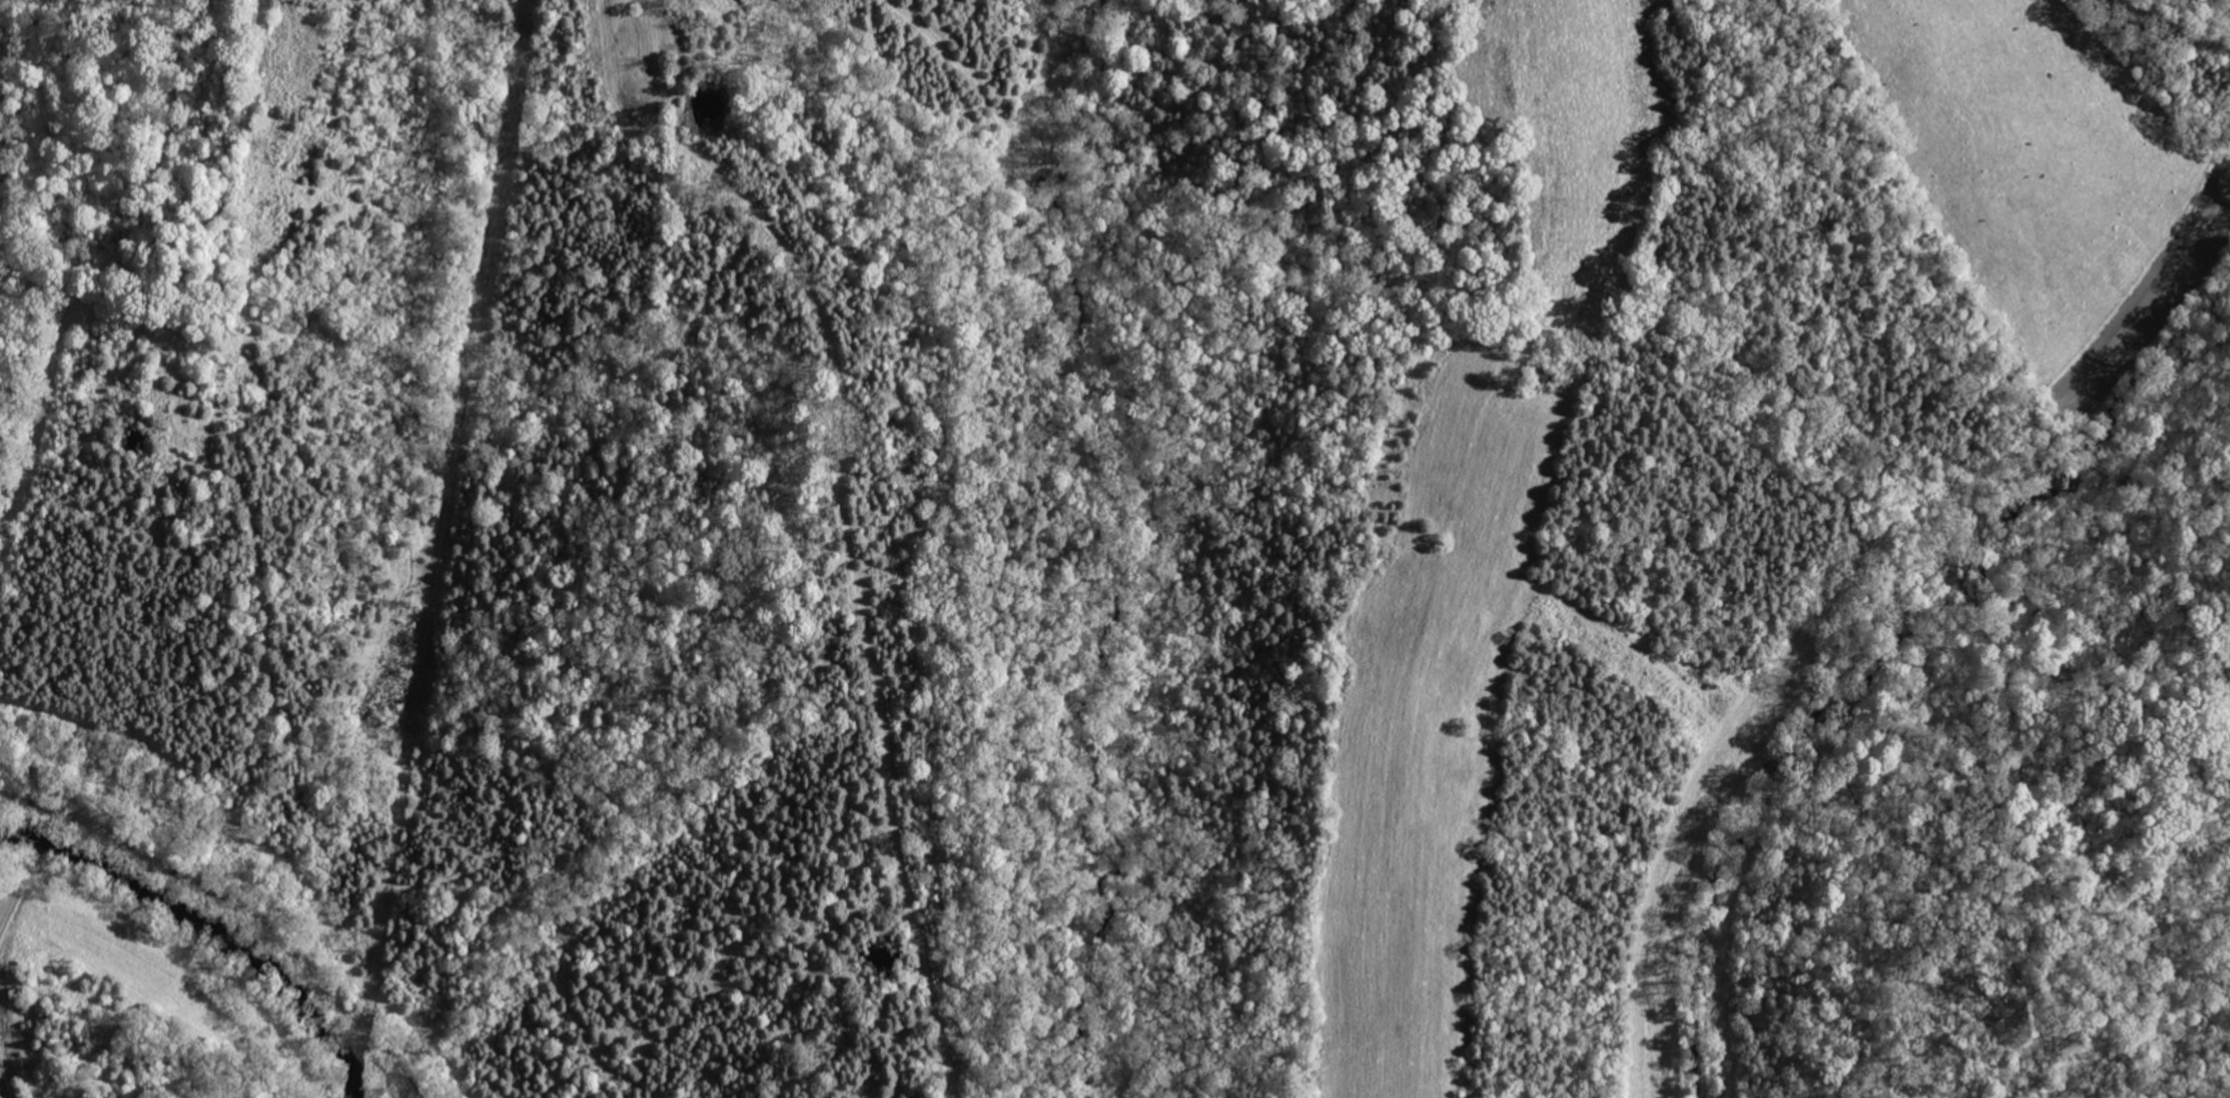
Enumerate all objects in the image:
road: (1639, 166)
road: (15, 888)
road: (2, 1087)

